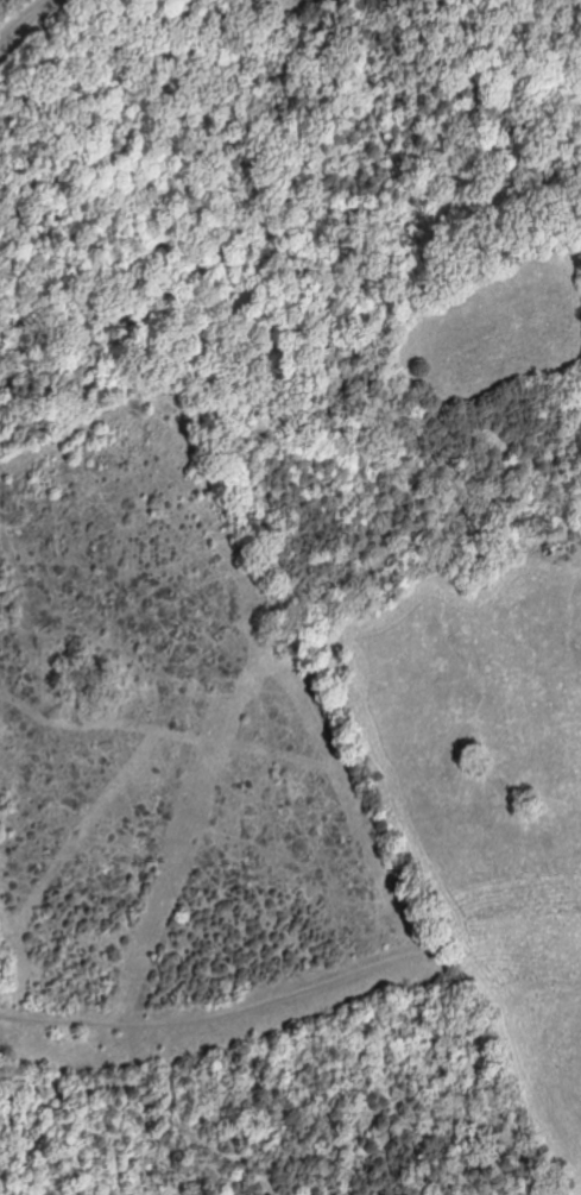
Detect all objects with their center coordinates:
road: (26, 23)
road: (227, 918)

